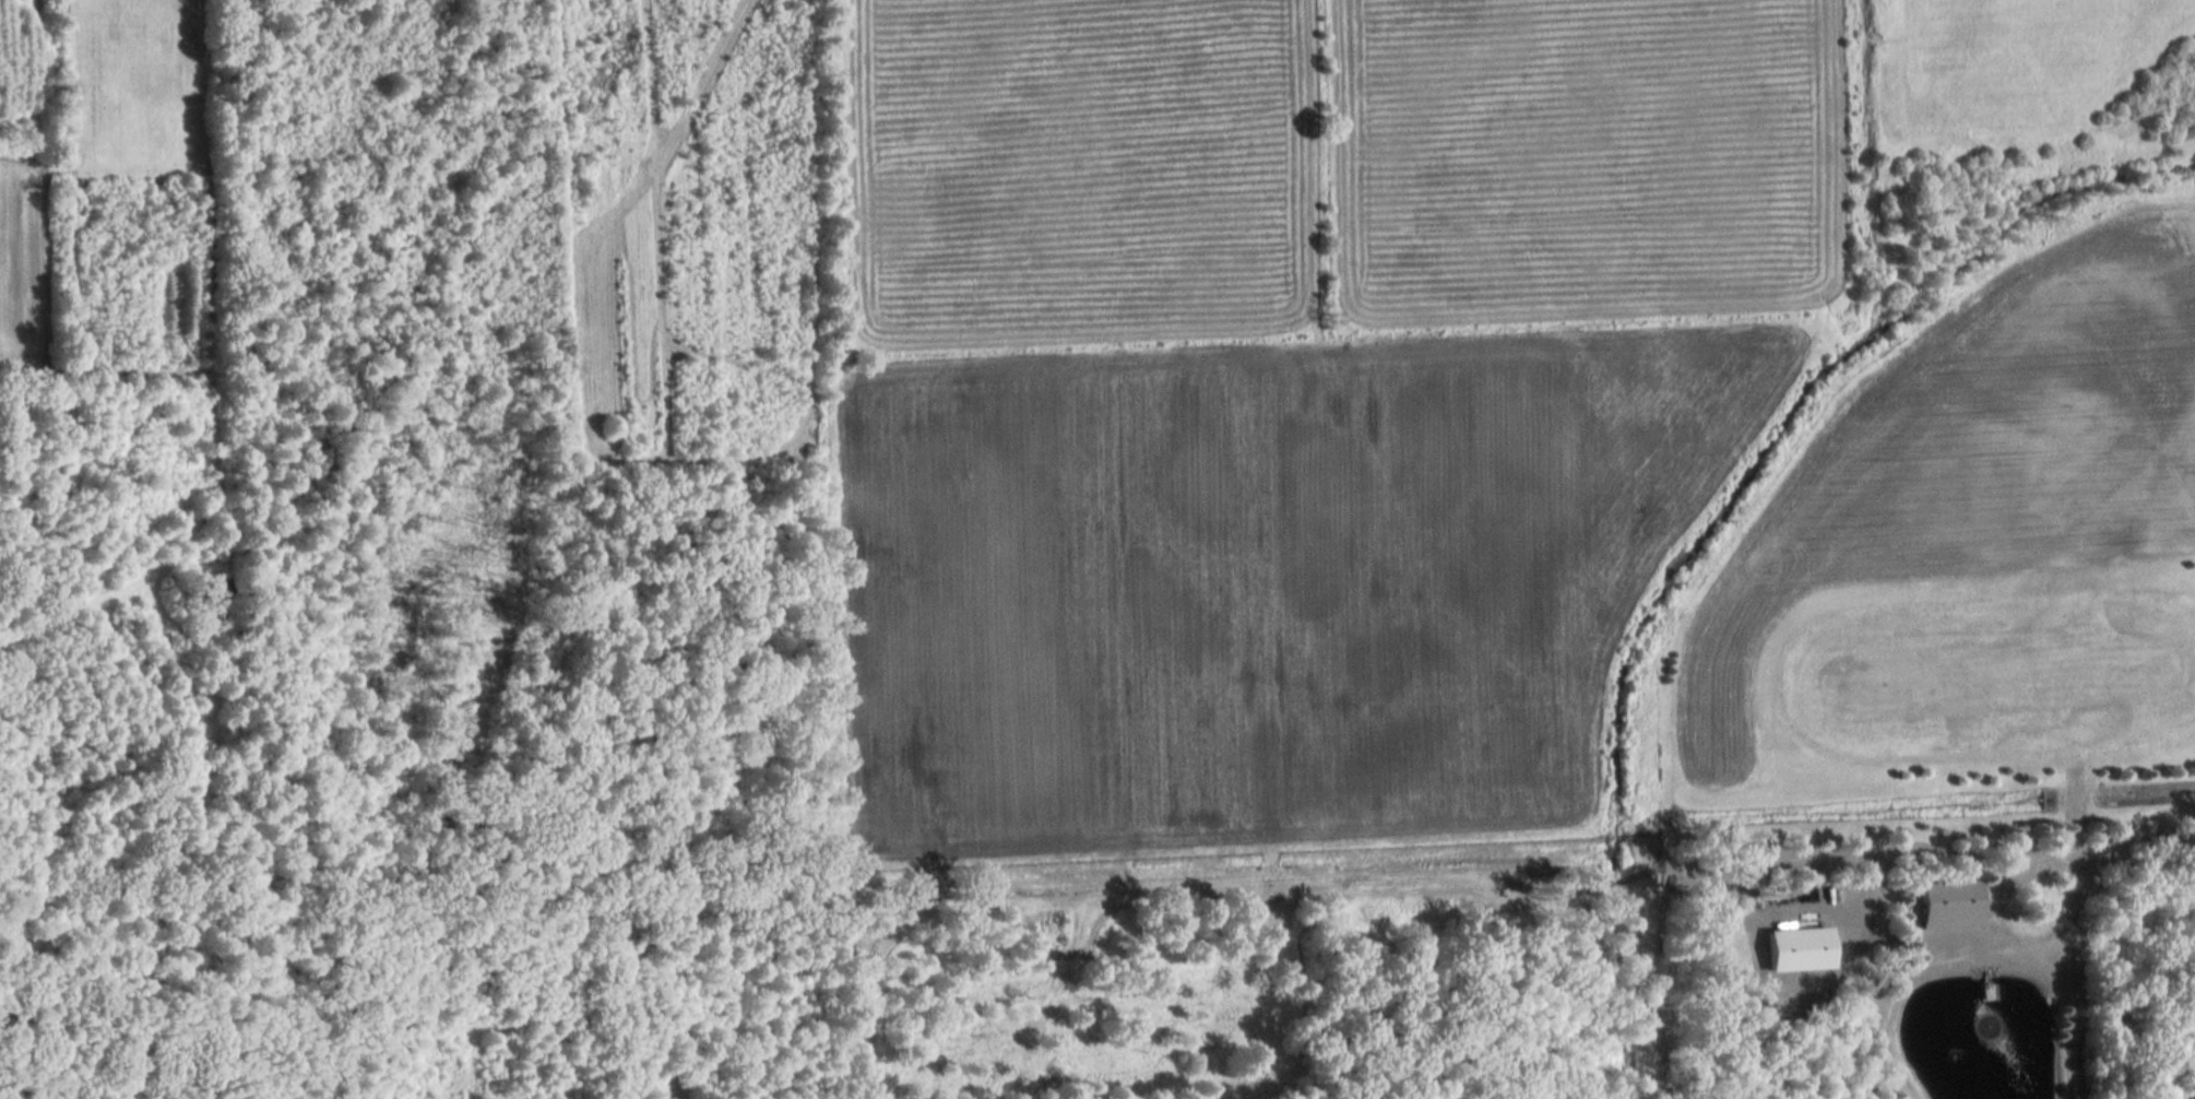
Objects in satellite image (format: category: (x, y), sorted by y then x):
building: (1946, 905)
road: (1989, 923)
road: (2027, 942)
road: (2067, 976)

